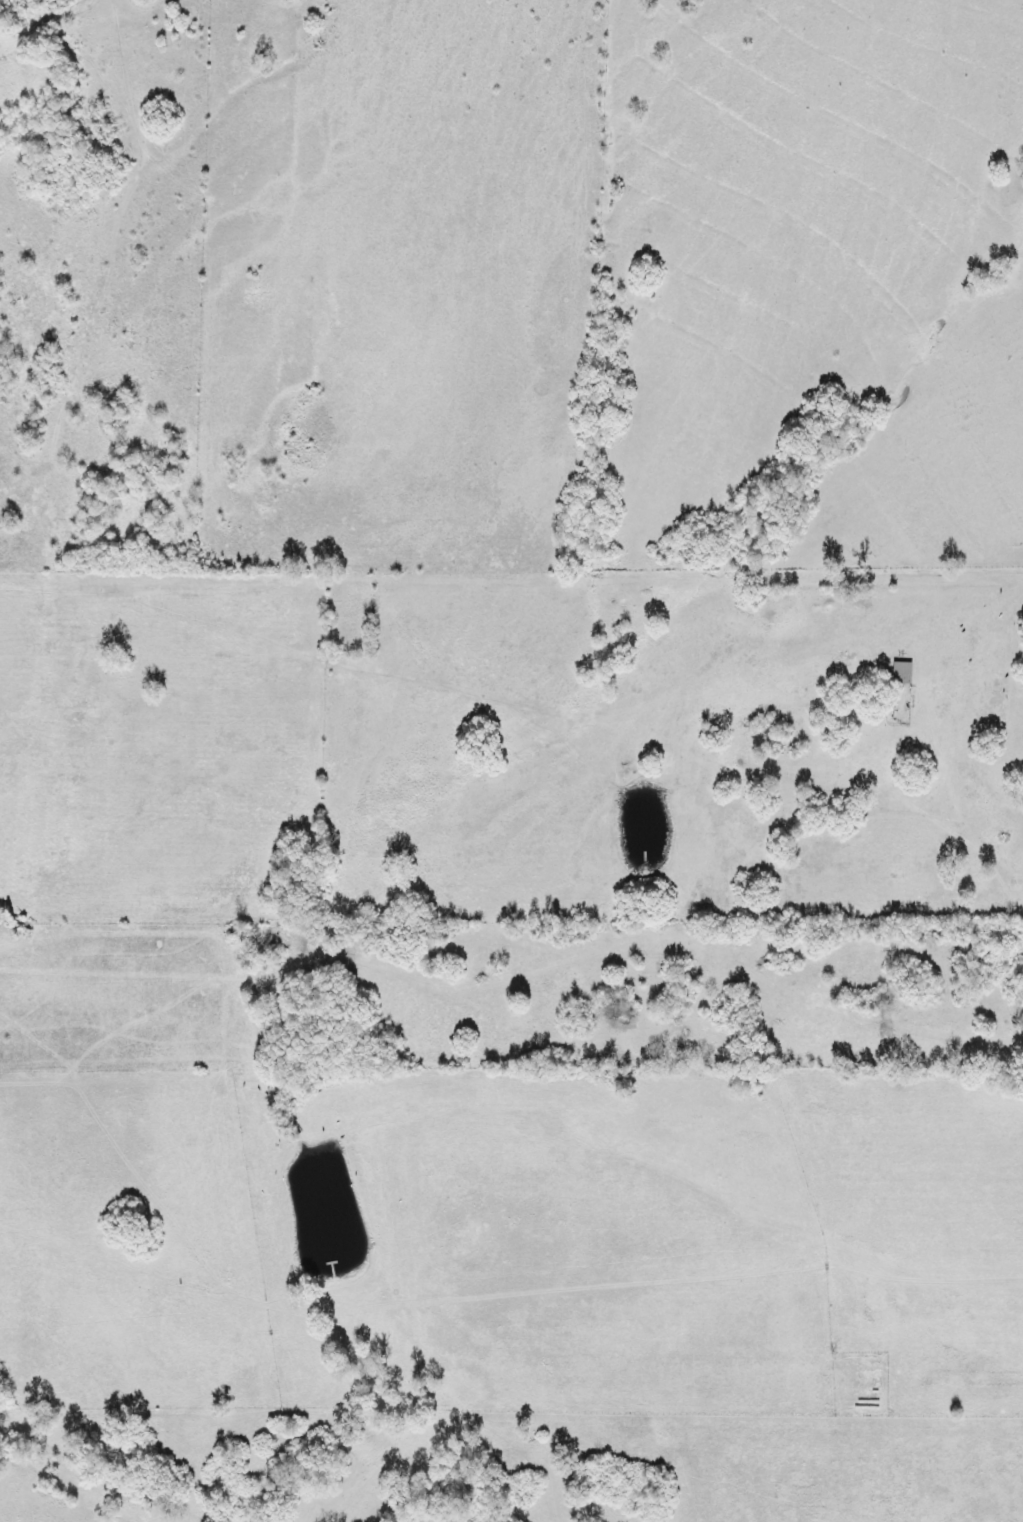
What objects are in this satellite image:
building: (901, 672)
road: (854, 731)

